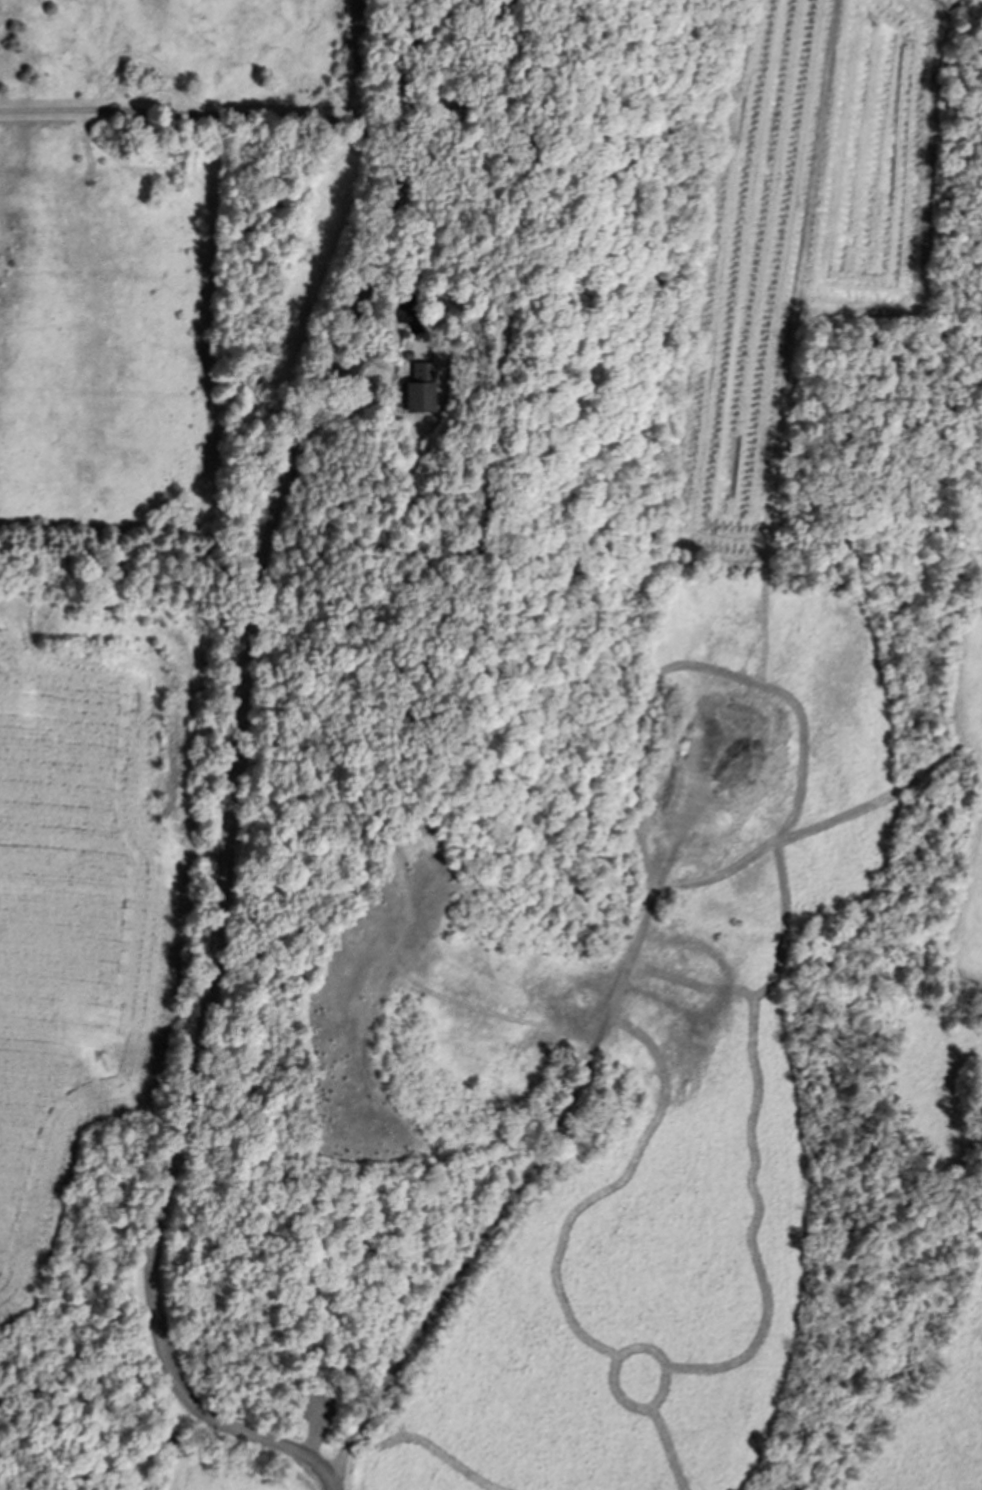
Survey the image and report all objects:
road: (204, 112)
building: (421, 379)
road: (232, 784)
road: (513, 1194)
quarry: (80, 1469)

